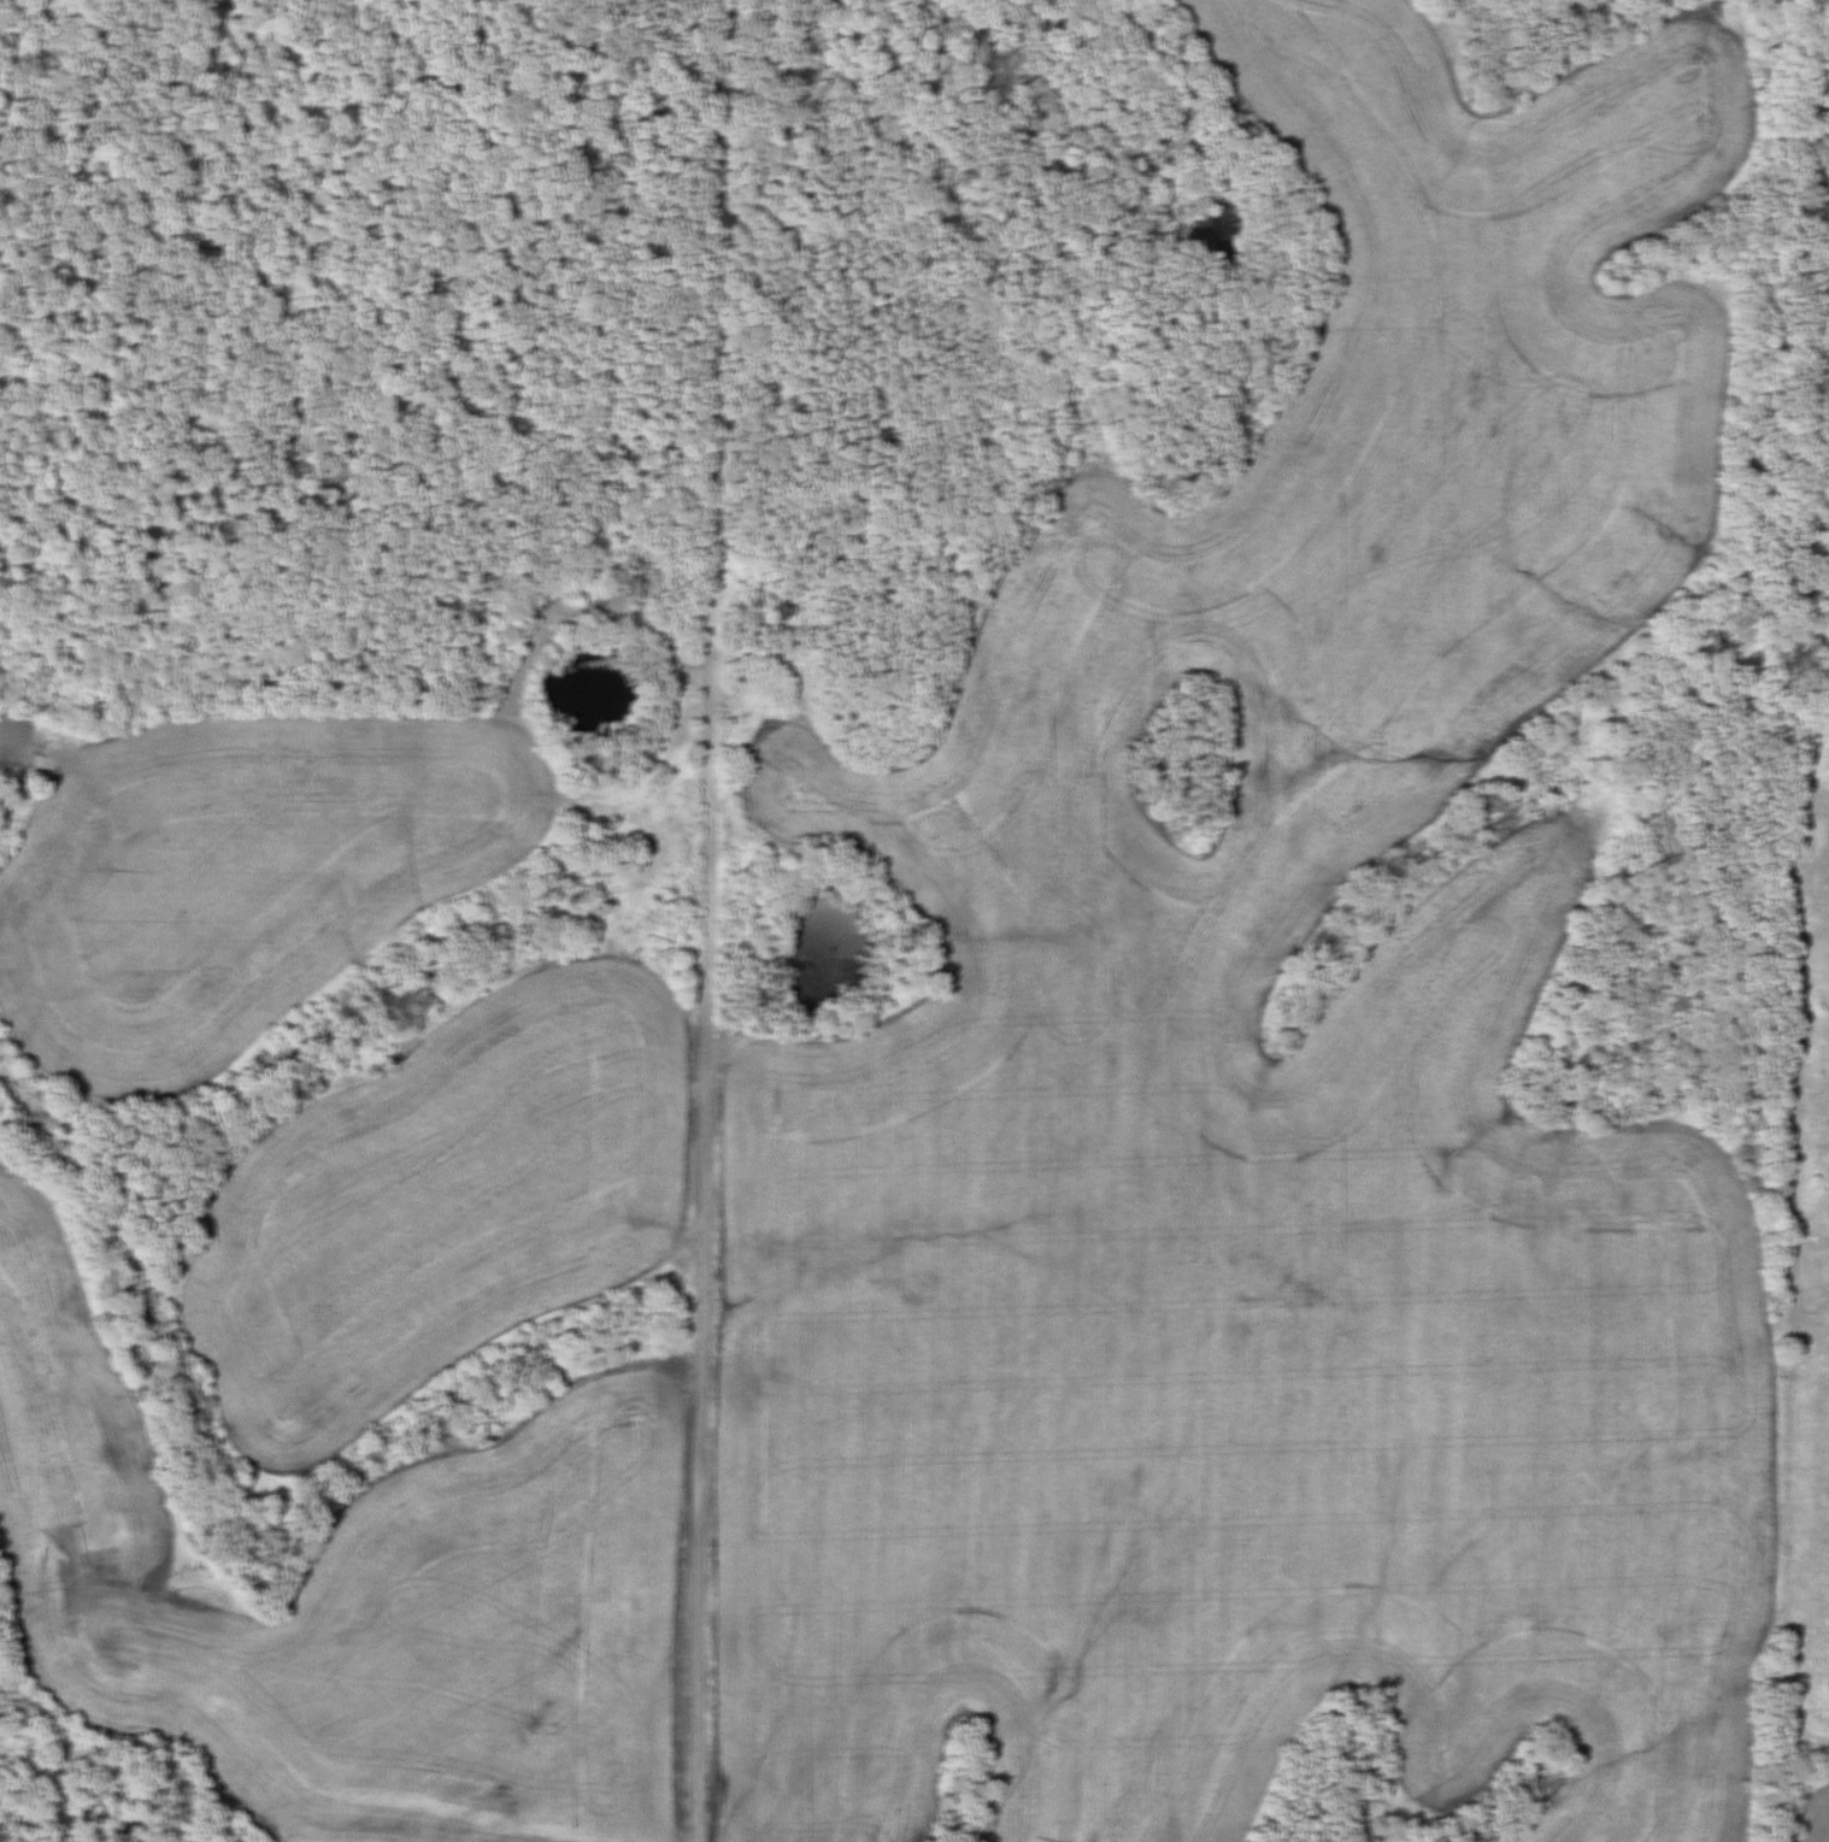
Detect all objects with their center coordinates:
building: (784, 608)
road: (707, 920)

